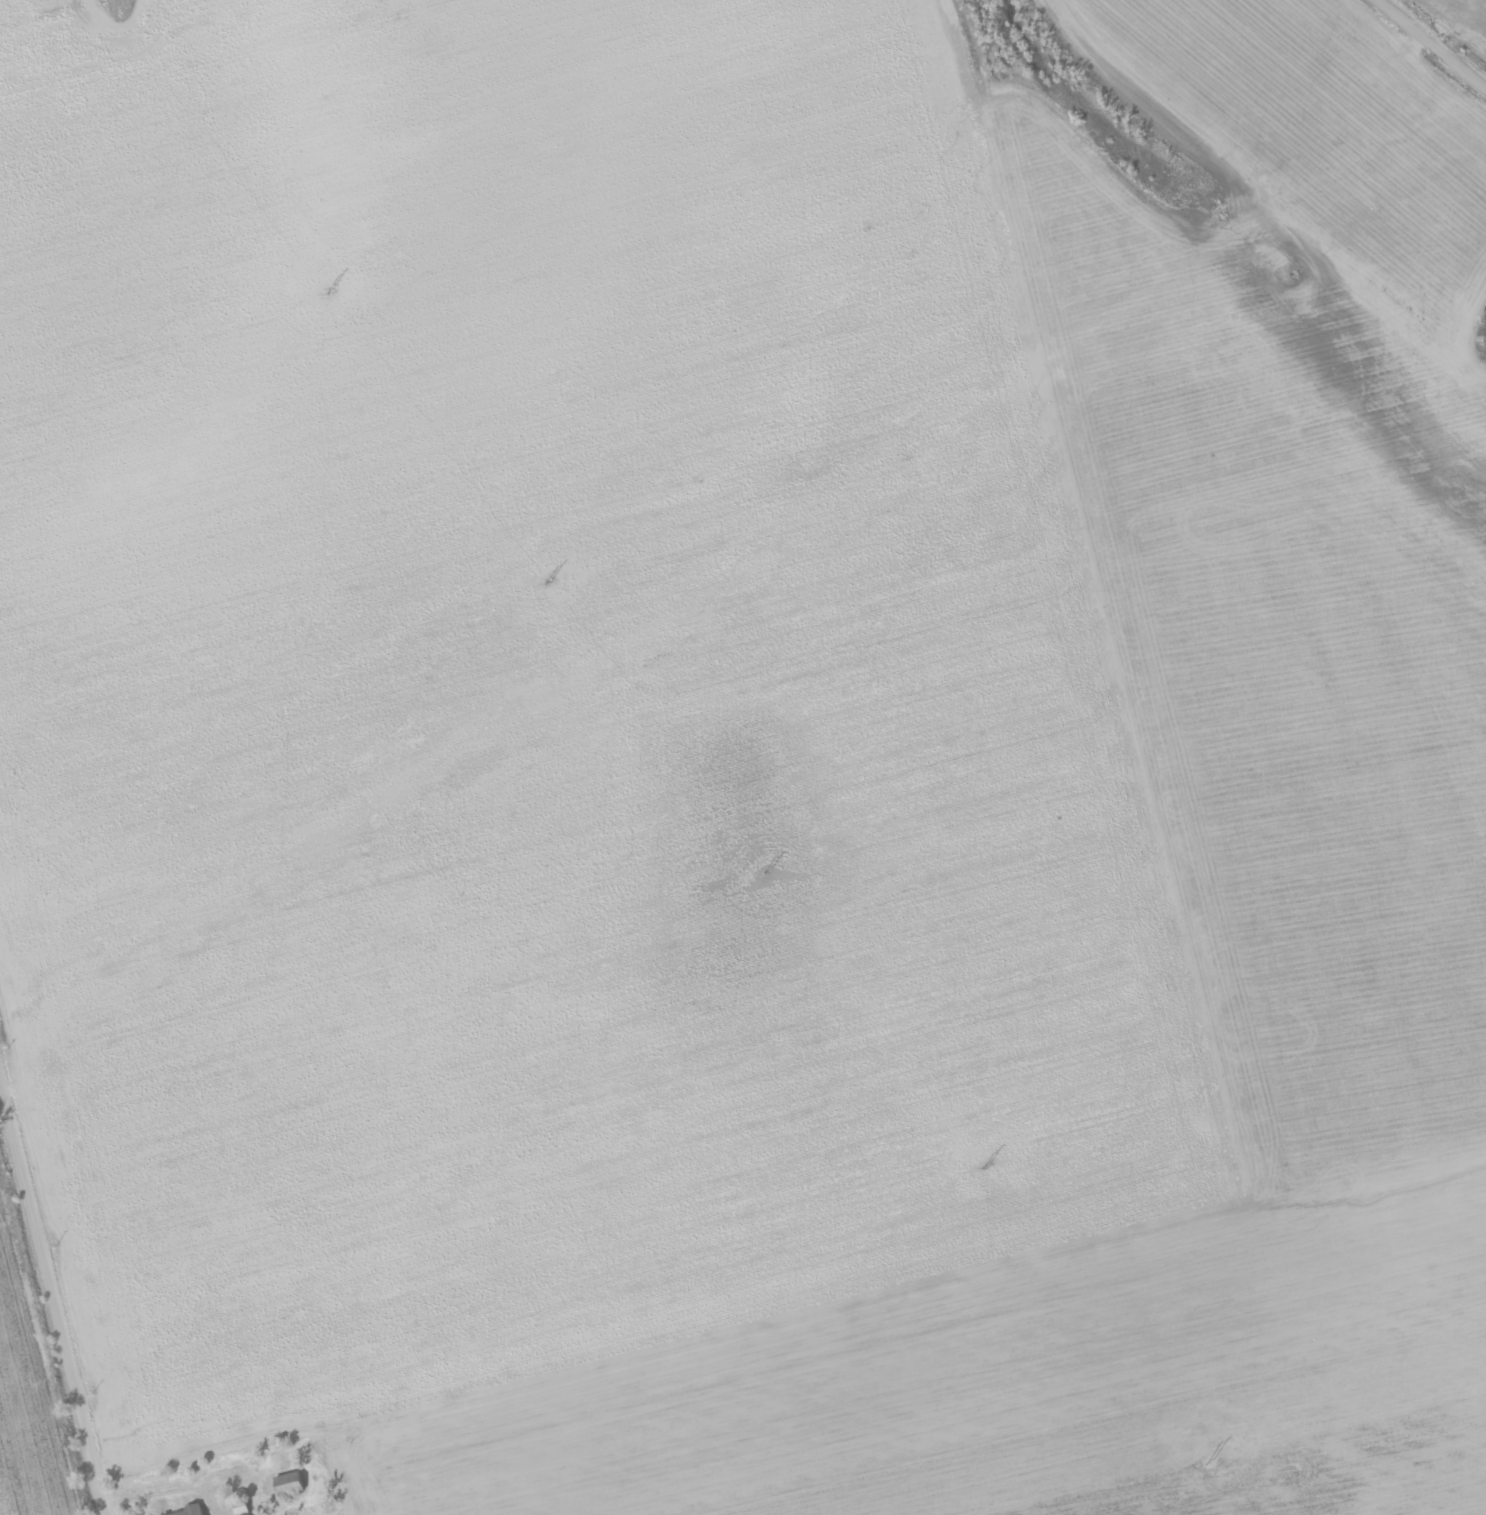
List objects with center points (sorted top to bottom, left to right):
railway: (1461, 19)
road: (1438, 38)
power tower: (329, 290)
power tower: (548, 580)
power tower: (767, 872)
power tower: (985, 1163)
road: (49, 1328)
road: (319, 1448)
power tower: (1209, 1460)
building: (284, 1480)

